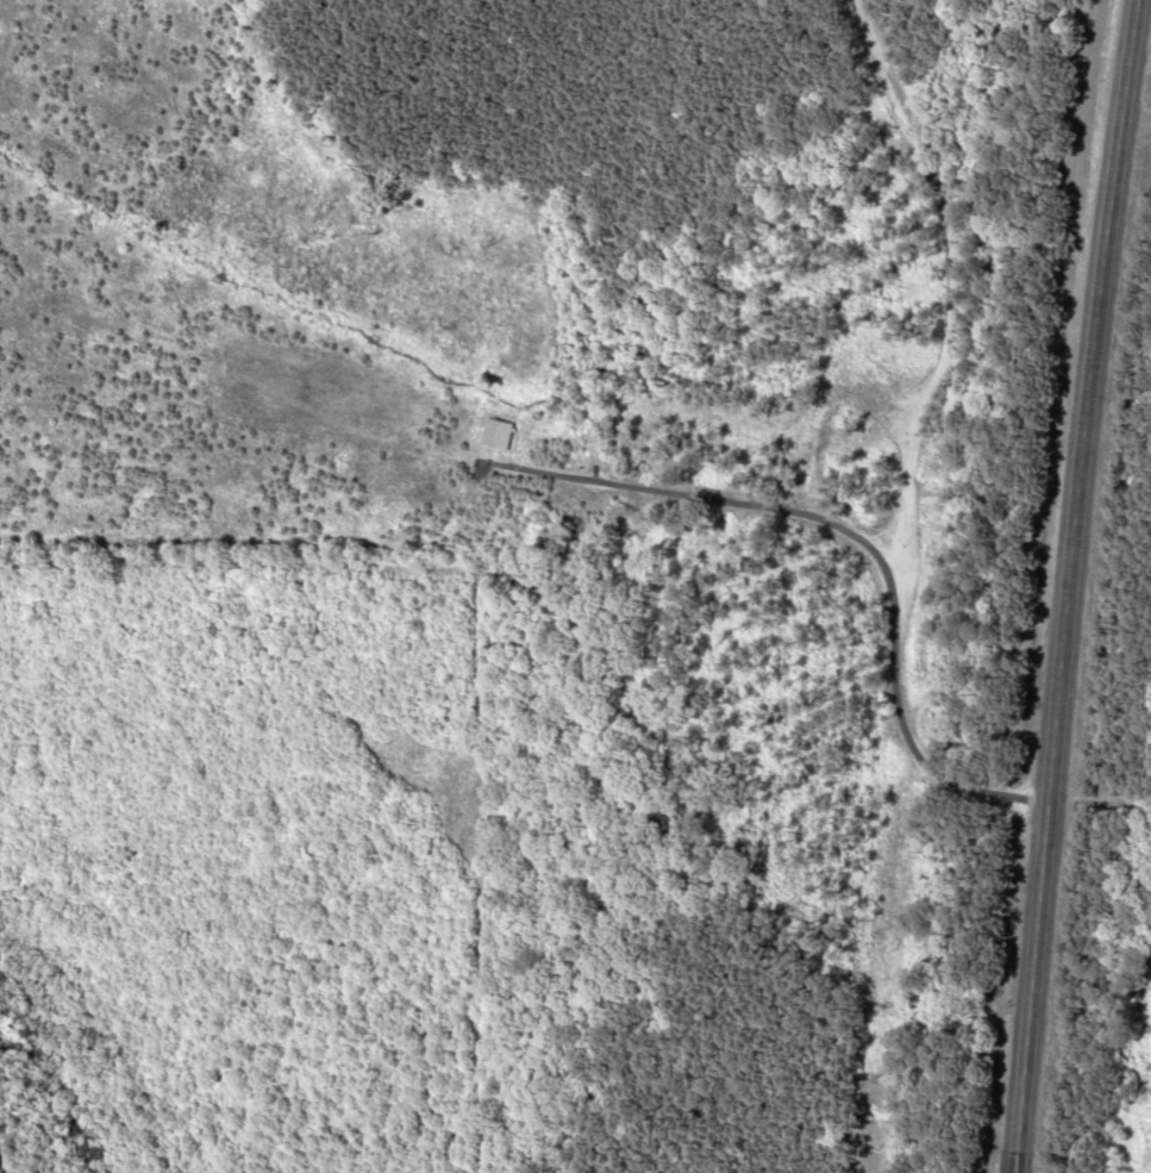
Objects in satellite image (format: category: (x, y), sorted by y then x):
road: (1127, 235)
road: (1068, 574)
road: (1012, 1162)
road: (1013, 1162)

